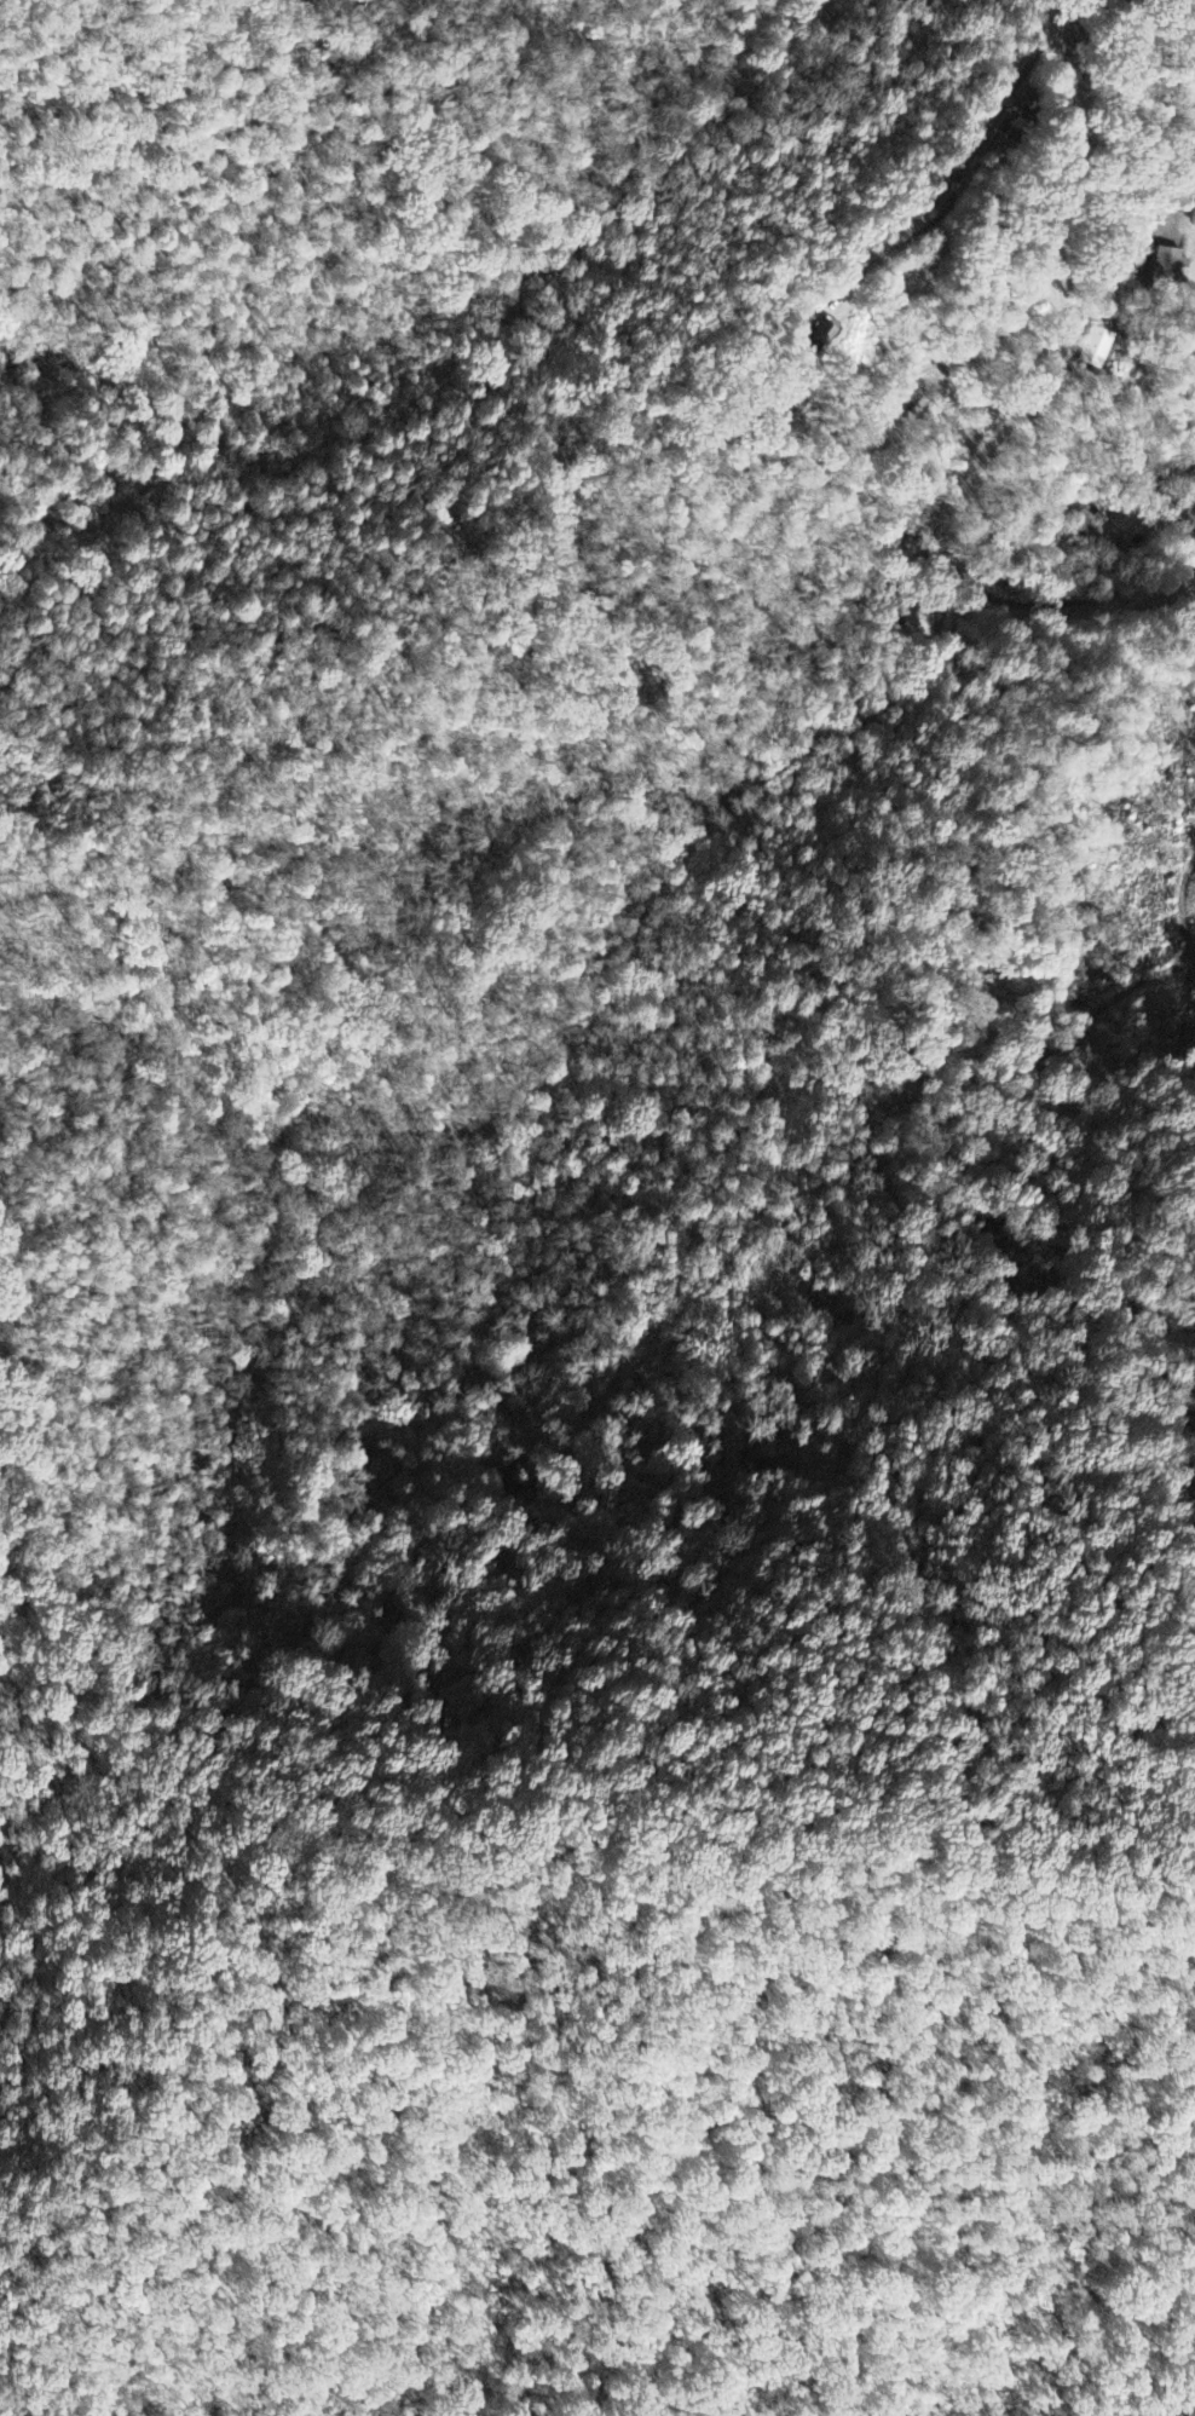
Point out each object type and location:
building: (1014, 133)
building: (1170, 267)
road: (1051, 299)
building: (907, 405)

